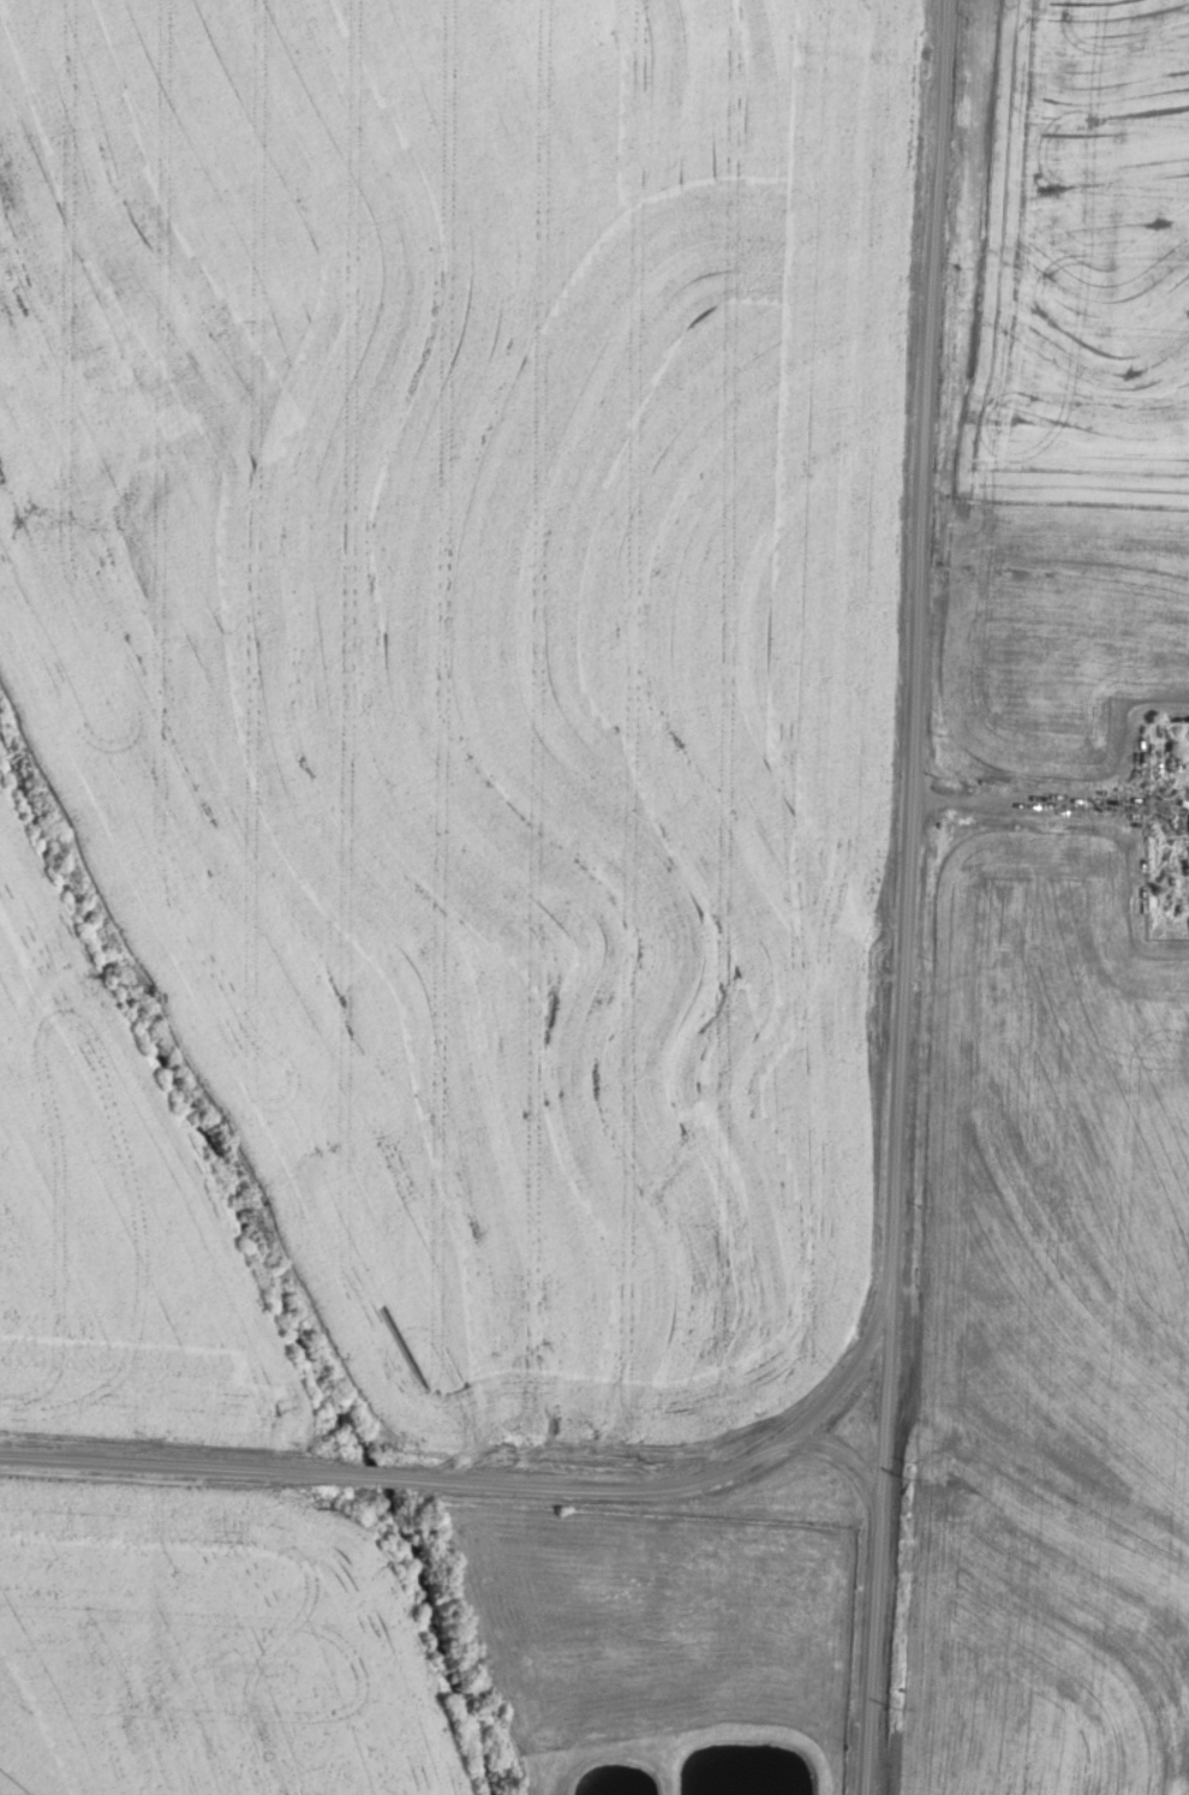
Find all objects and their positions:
road: (796, 48)
road: (1028, 798)
road: (908, 897)
road: (846, 1457)
road: (473, 1483)

